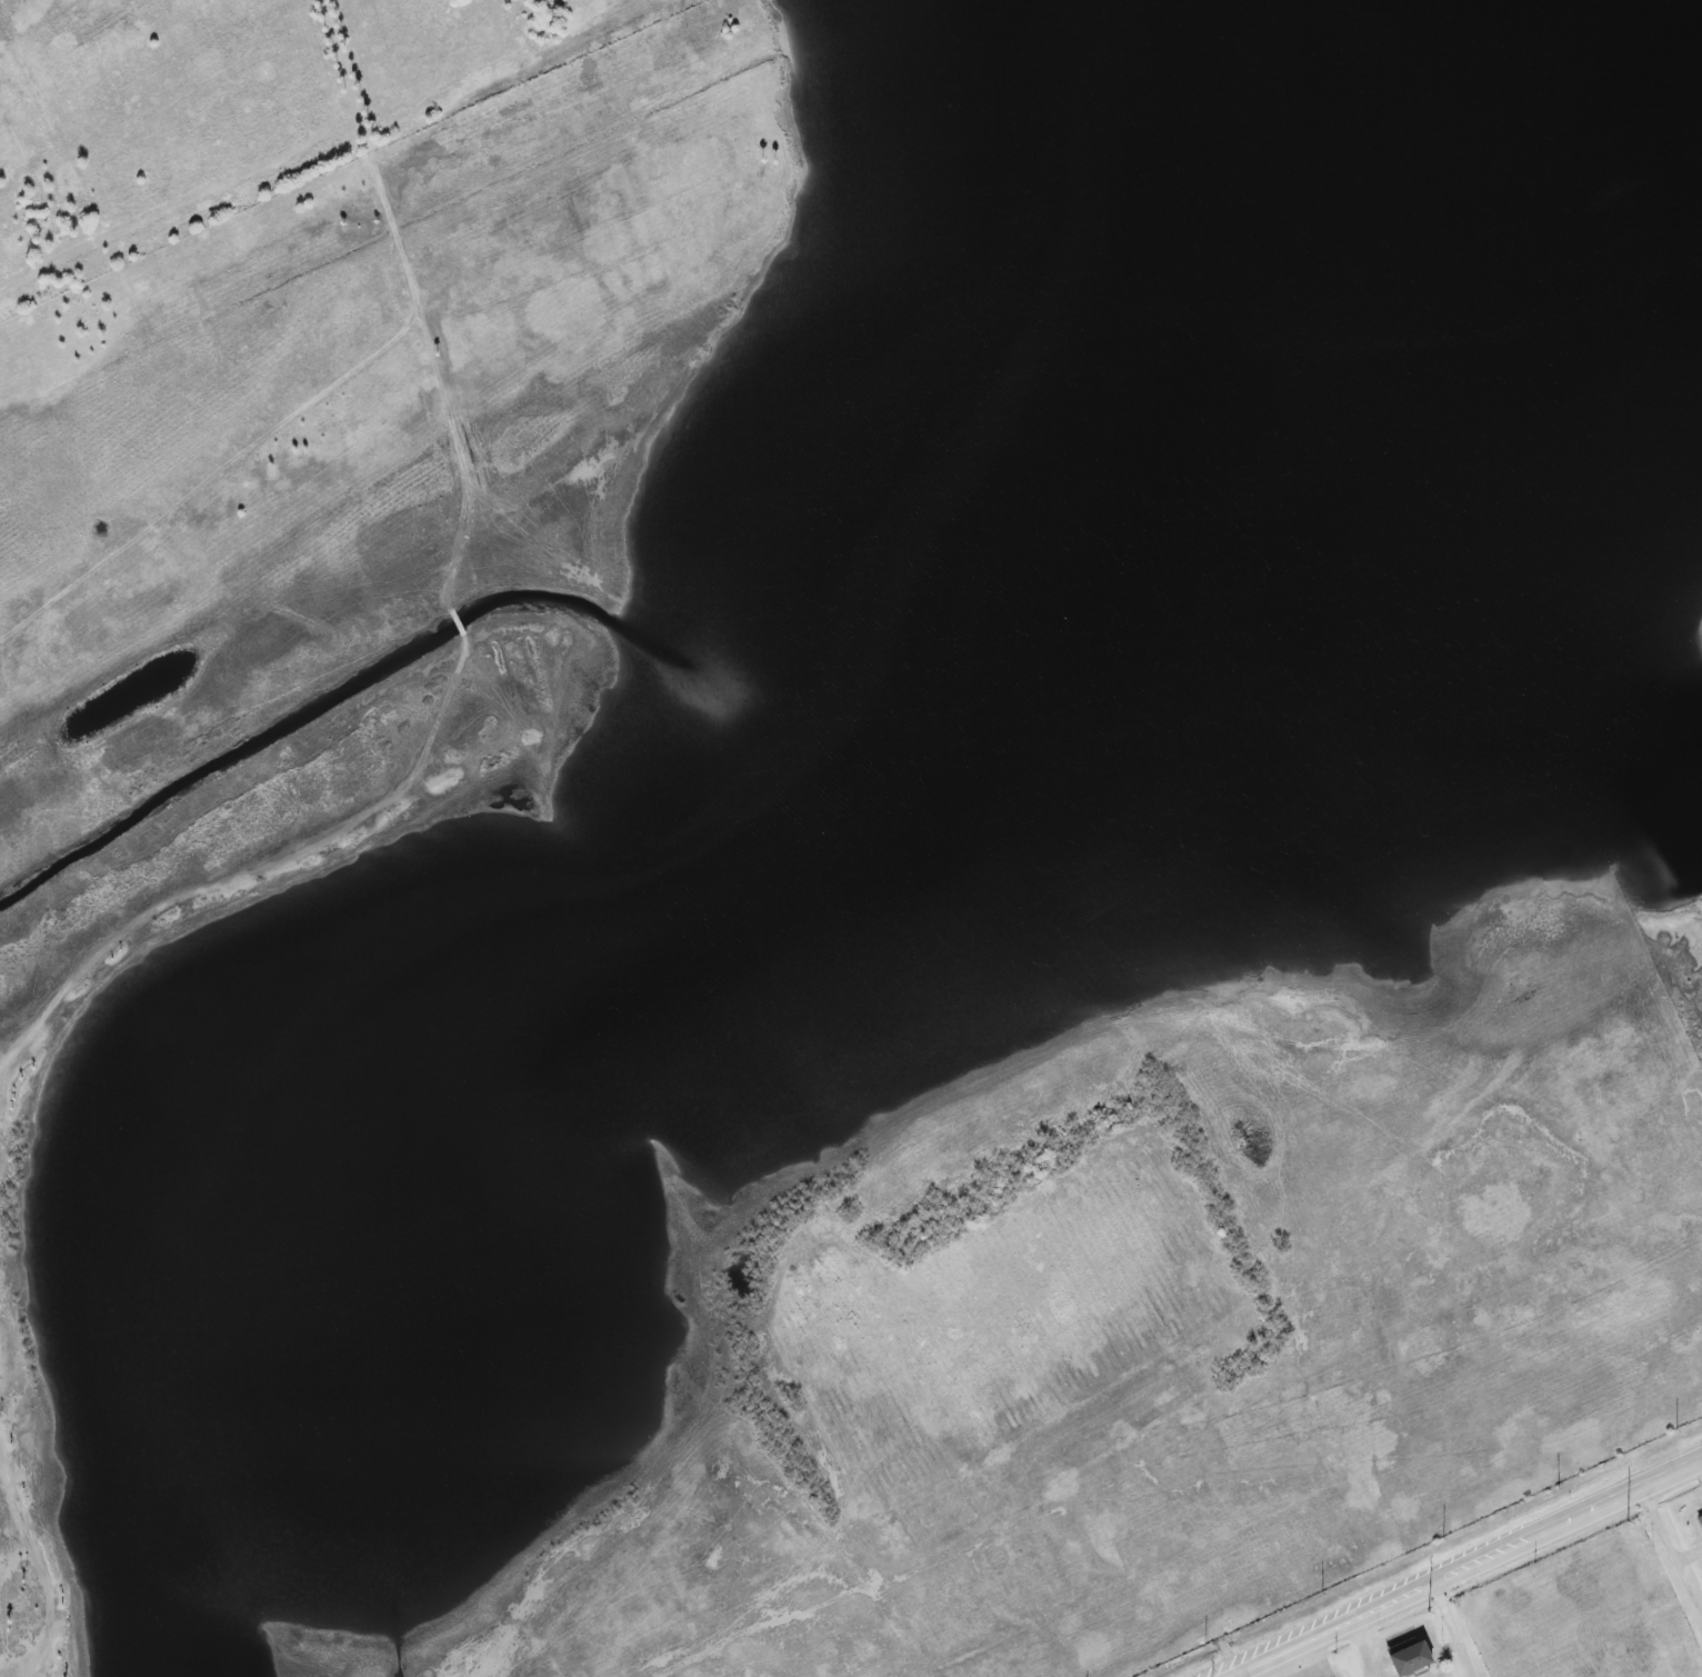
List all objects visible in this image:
building: (1699, 1521)
road: (1672, 1555)
road: (1469, 1571)
road: (1454, 1631)
building: (1410, 1659)

